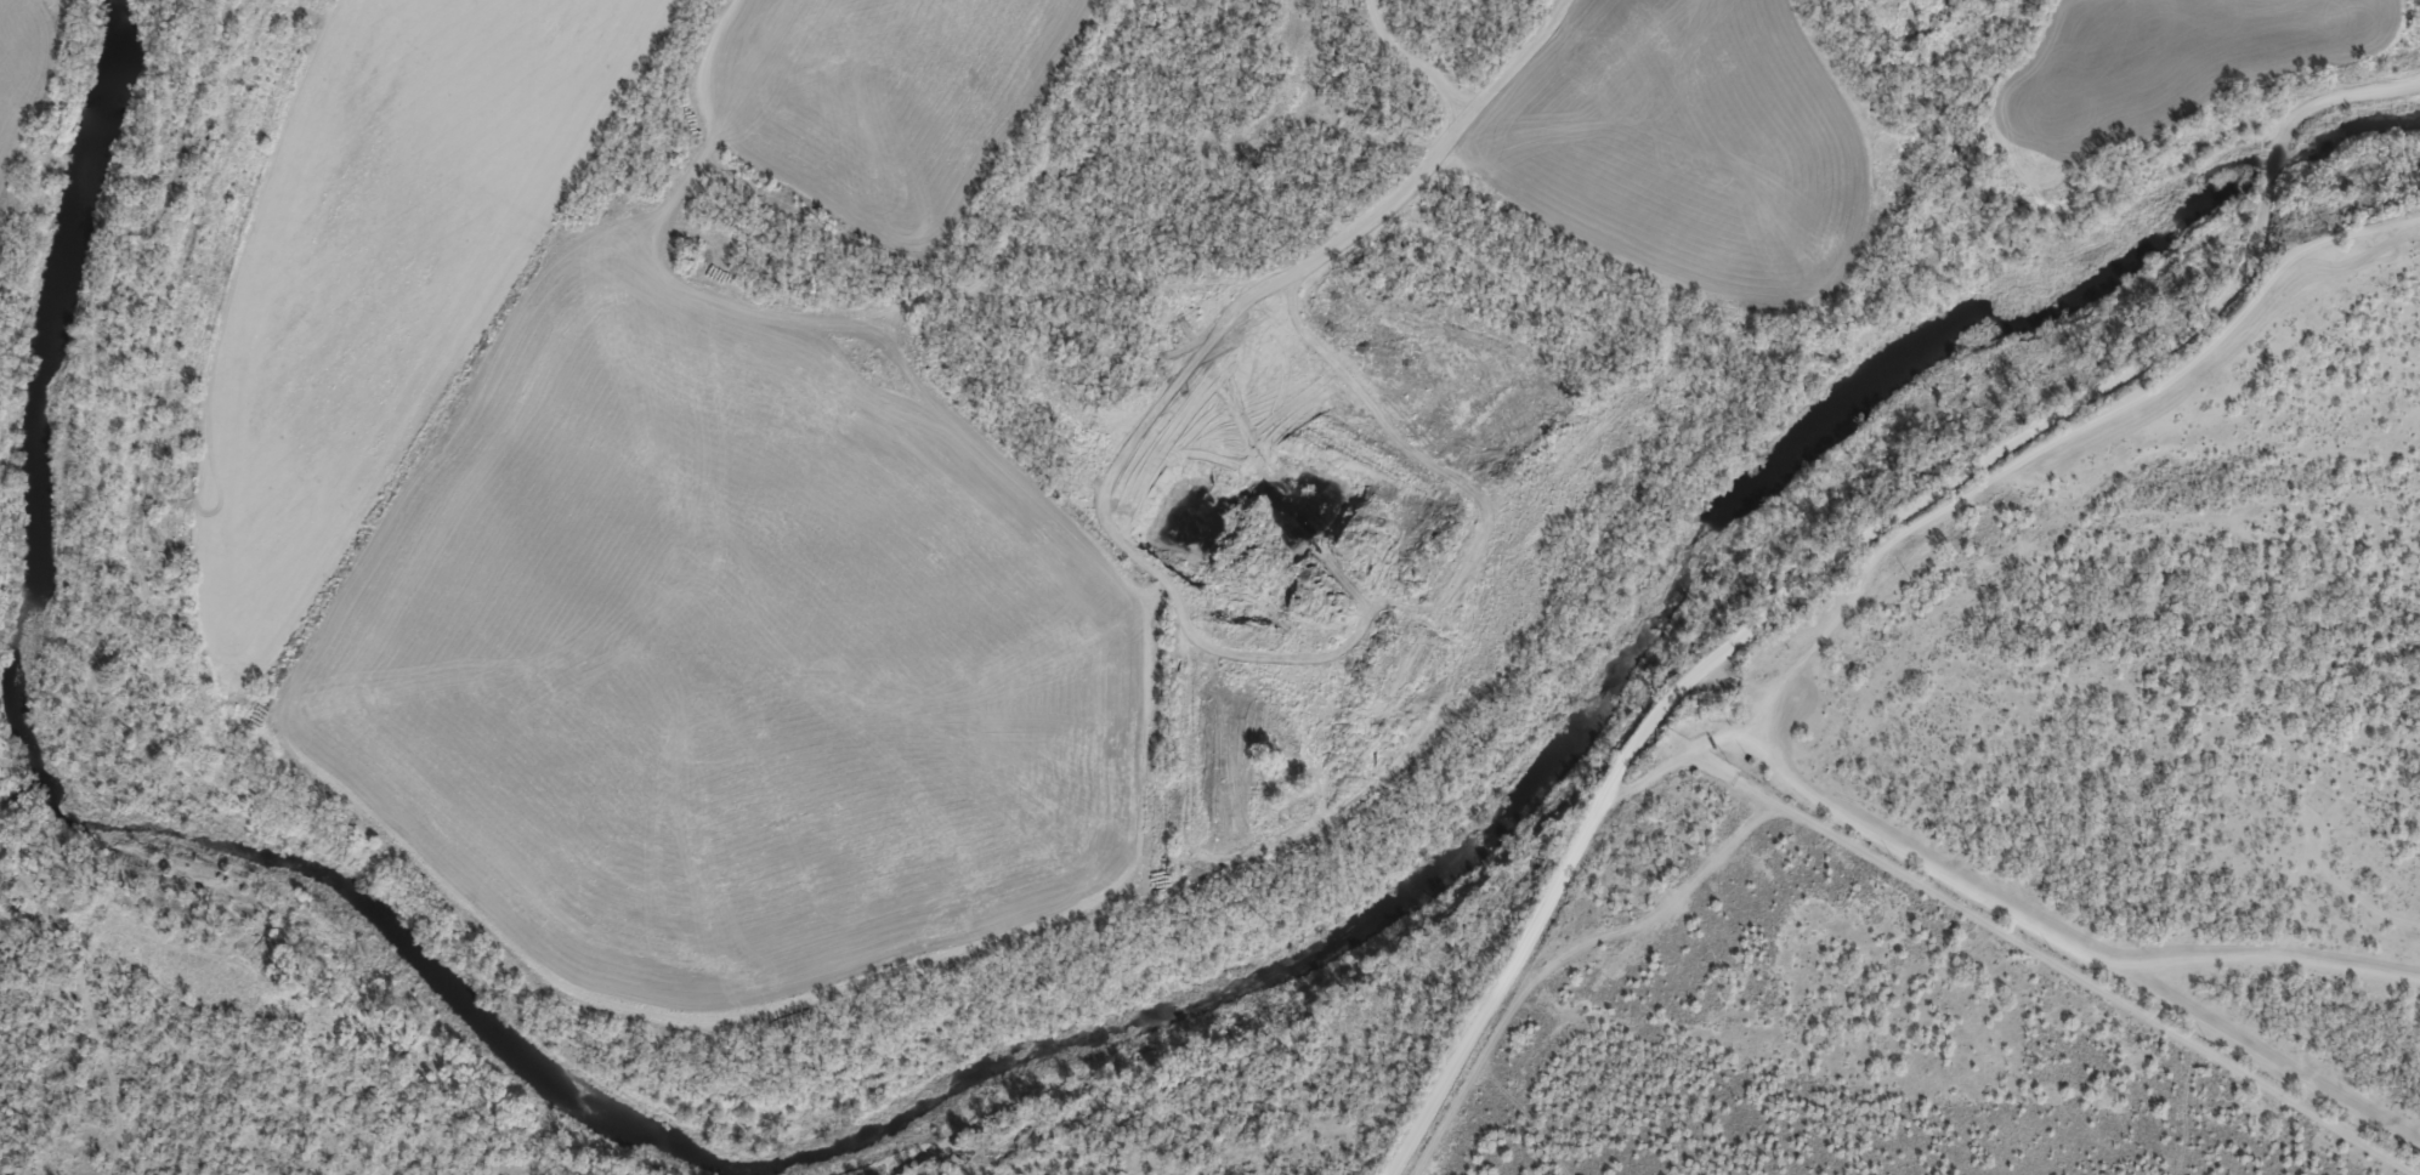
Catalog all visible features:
road: (2057, 159)
road: (2182, 398)
road: (1679, 747)
road: (1316, 851)
river: (945, 1088)

